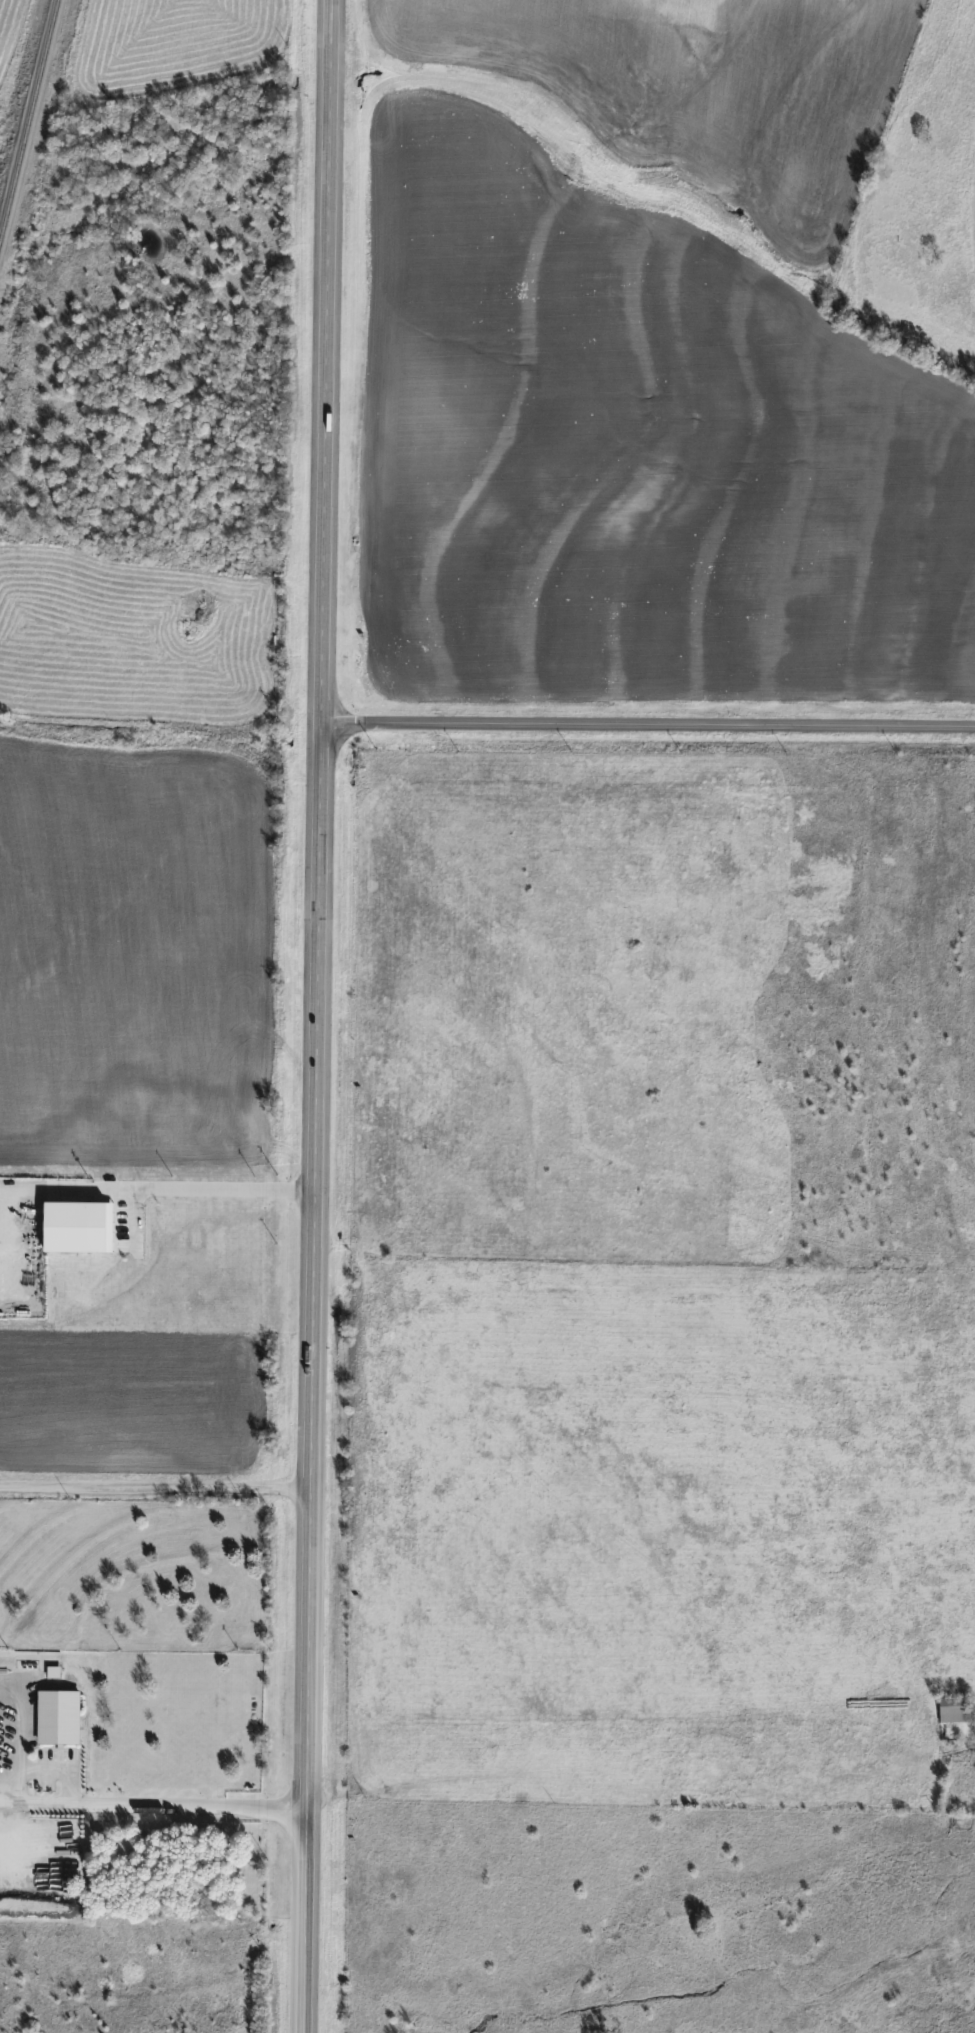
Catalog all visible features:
crop: (677, 99)
railway: (28, 121)
crop: (641, 437)
road: (645, 724)
crop: (139, 865)
road: (312, 1016)
road: (187, 1188)
road: (152, 1489)
building: (956, 1708)
building: (60, 1716)
road: (19, 1728)
road: (59, 1766)
road: (9, 1801)
road: (160, 1805)

